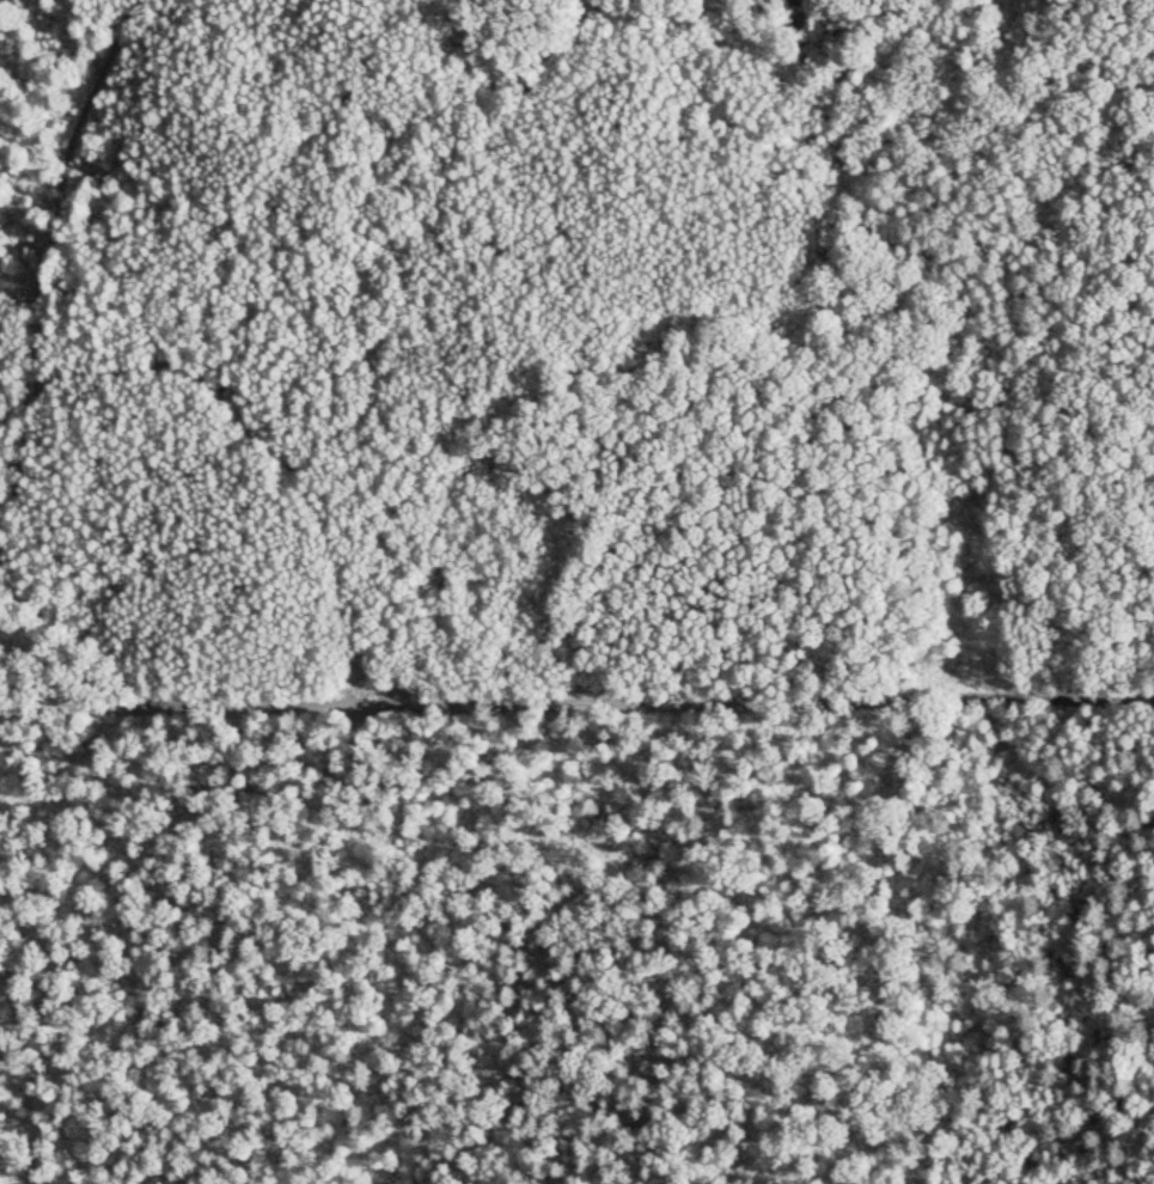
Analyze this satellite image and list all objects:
road: (576, 707)

